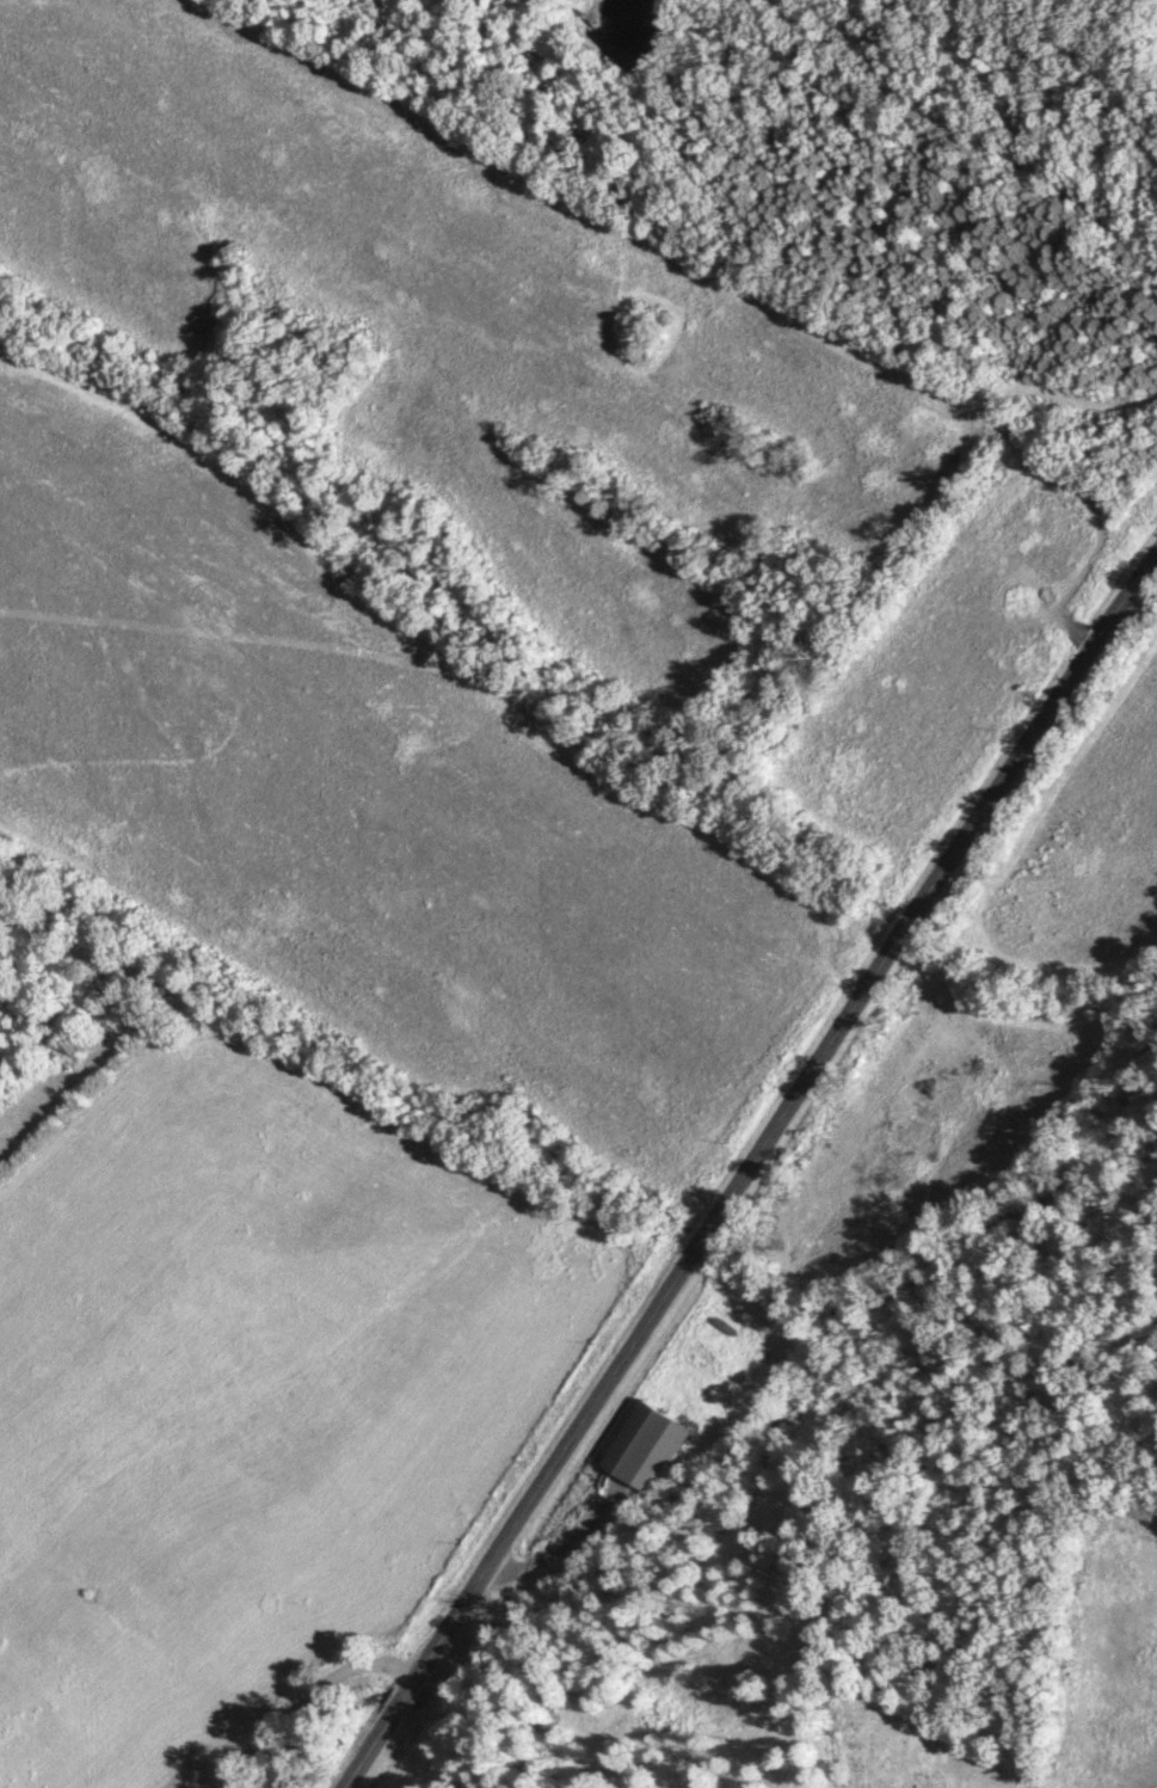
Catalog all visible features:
road: (747, 1171)
building: (644, 1443)
road: (302, 1694)

